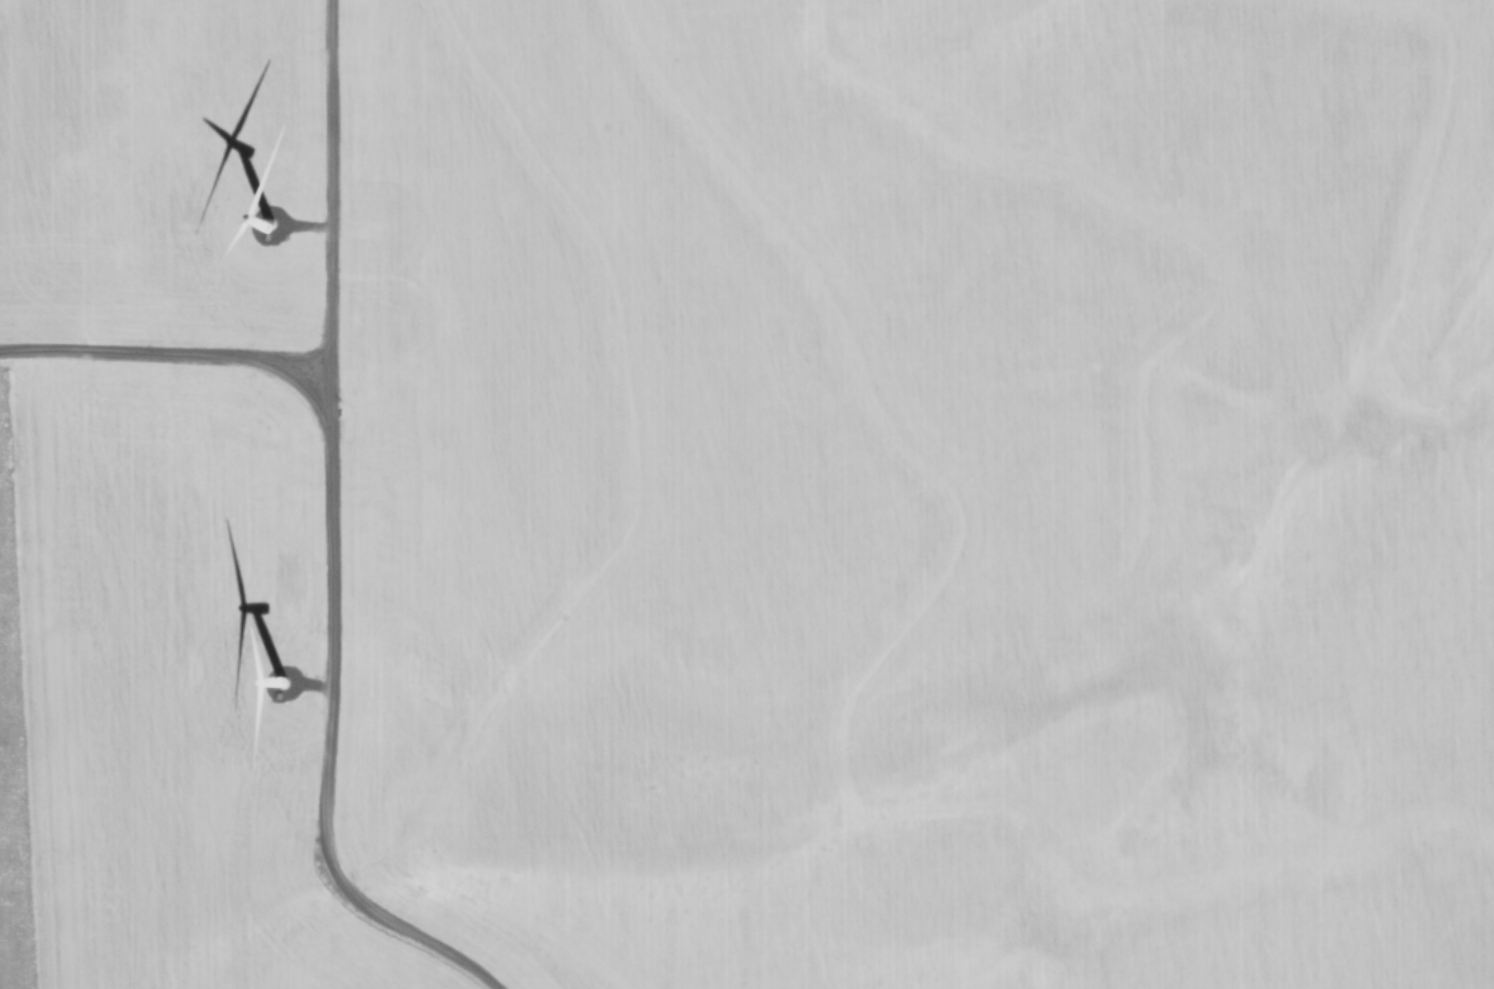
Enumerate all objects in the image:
wind turbine: (259, 227)
road: (165, 341)
road: (329, 539)
wind turbine: (286, 694)

